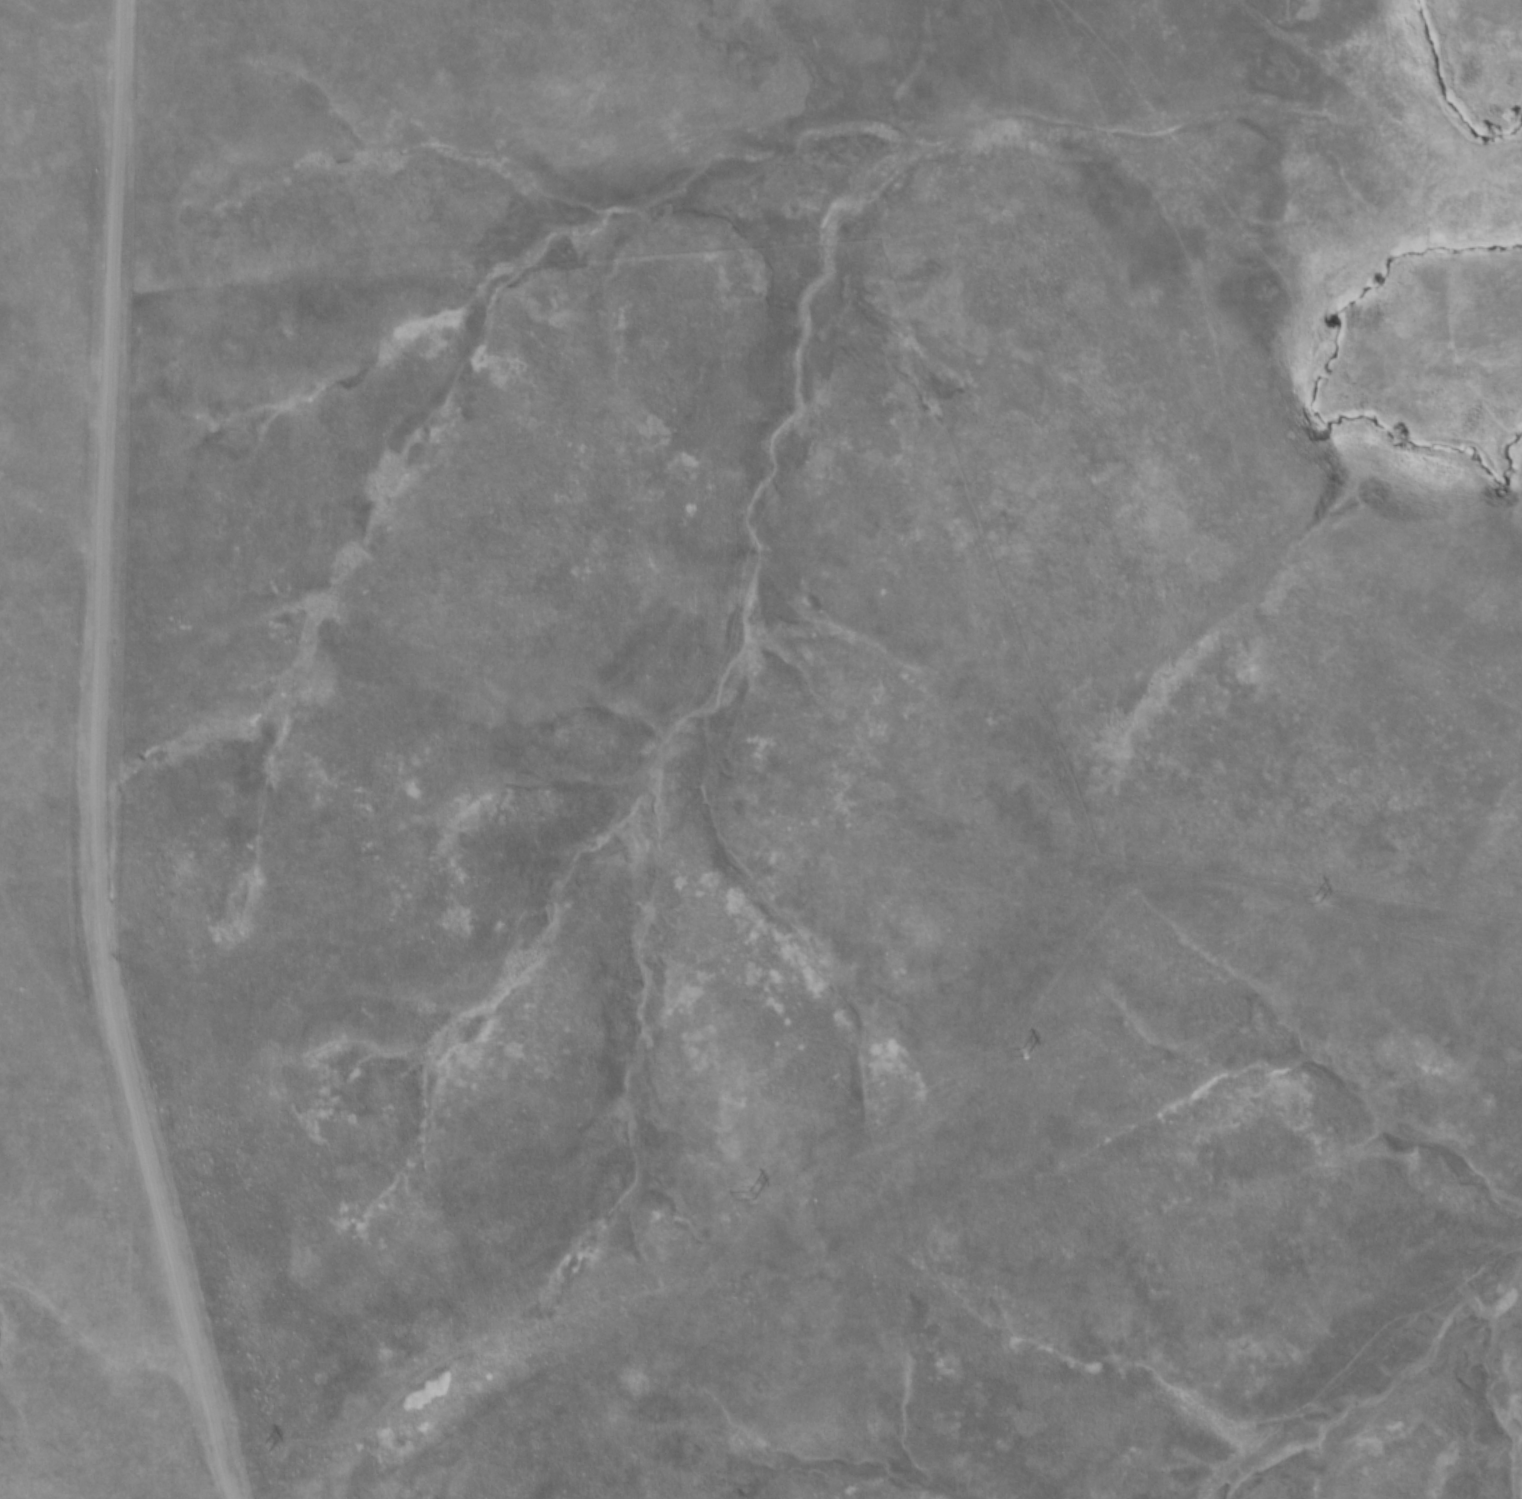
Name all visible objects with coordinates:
road: (96, 756)
power tower: (1312, 897)
power tower: (1019, 1051)
power tower: (745, 1195)
power tower: (264, 1446)

